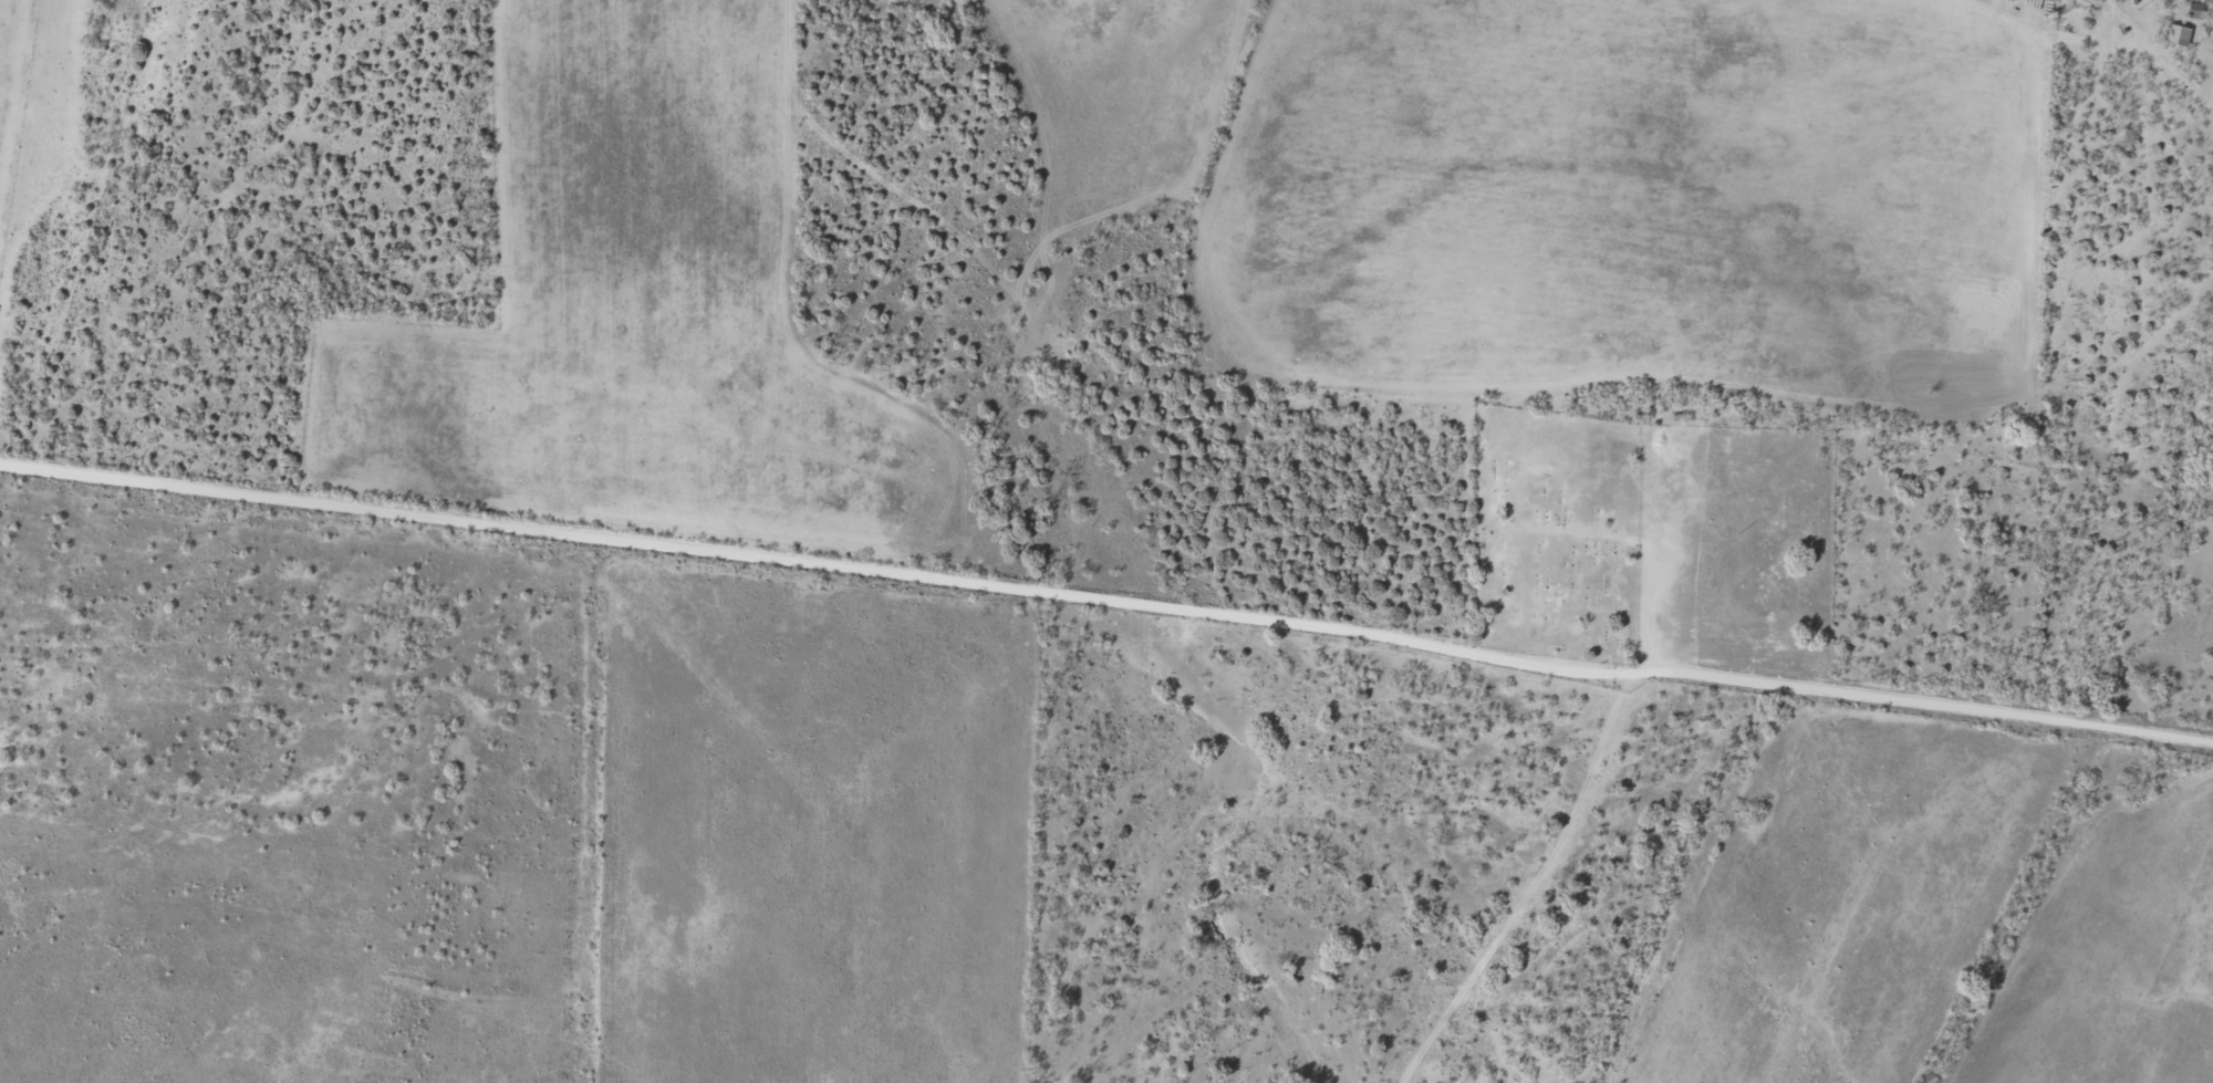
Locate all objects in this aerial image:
building: (2194, 11)
building: (2176, 35)
park: (1653, 539)
road: (1108, 600)
road: (1592, 762)

